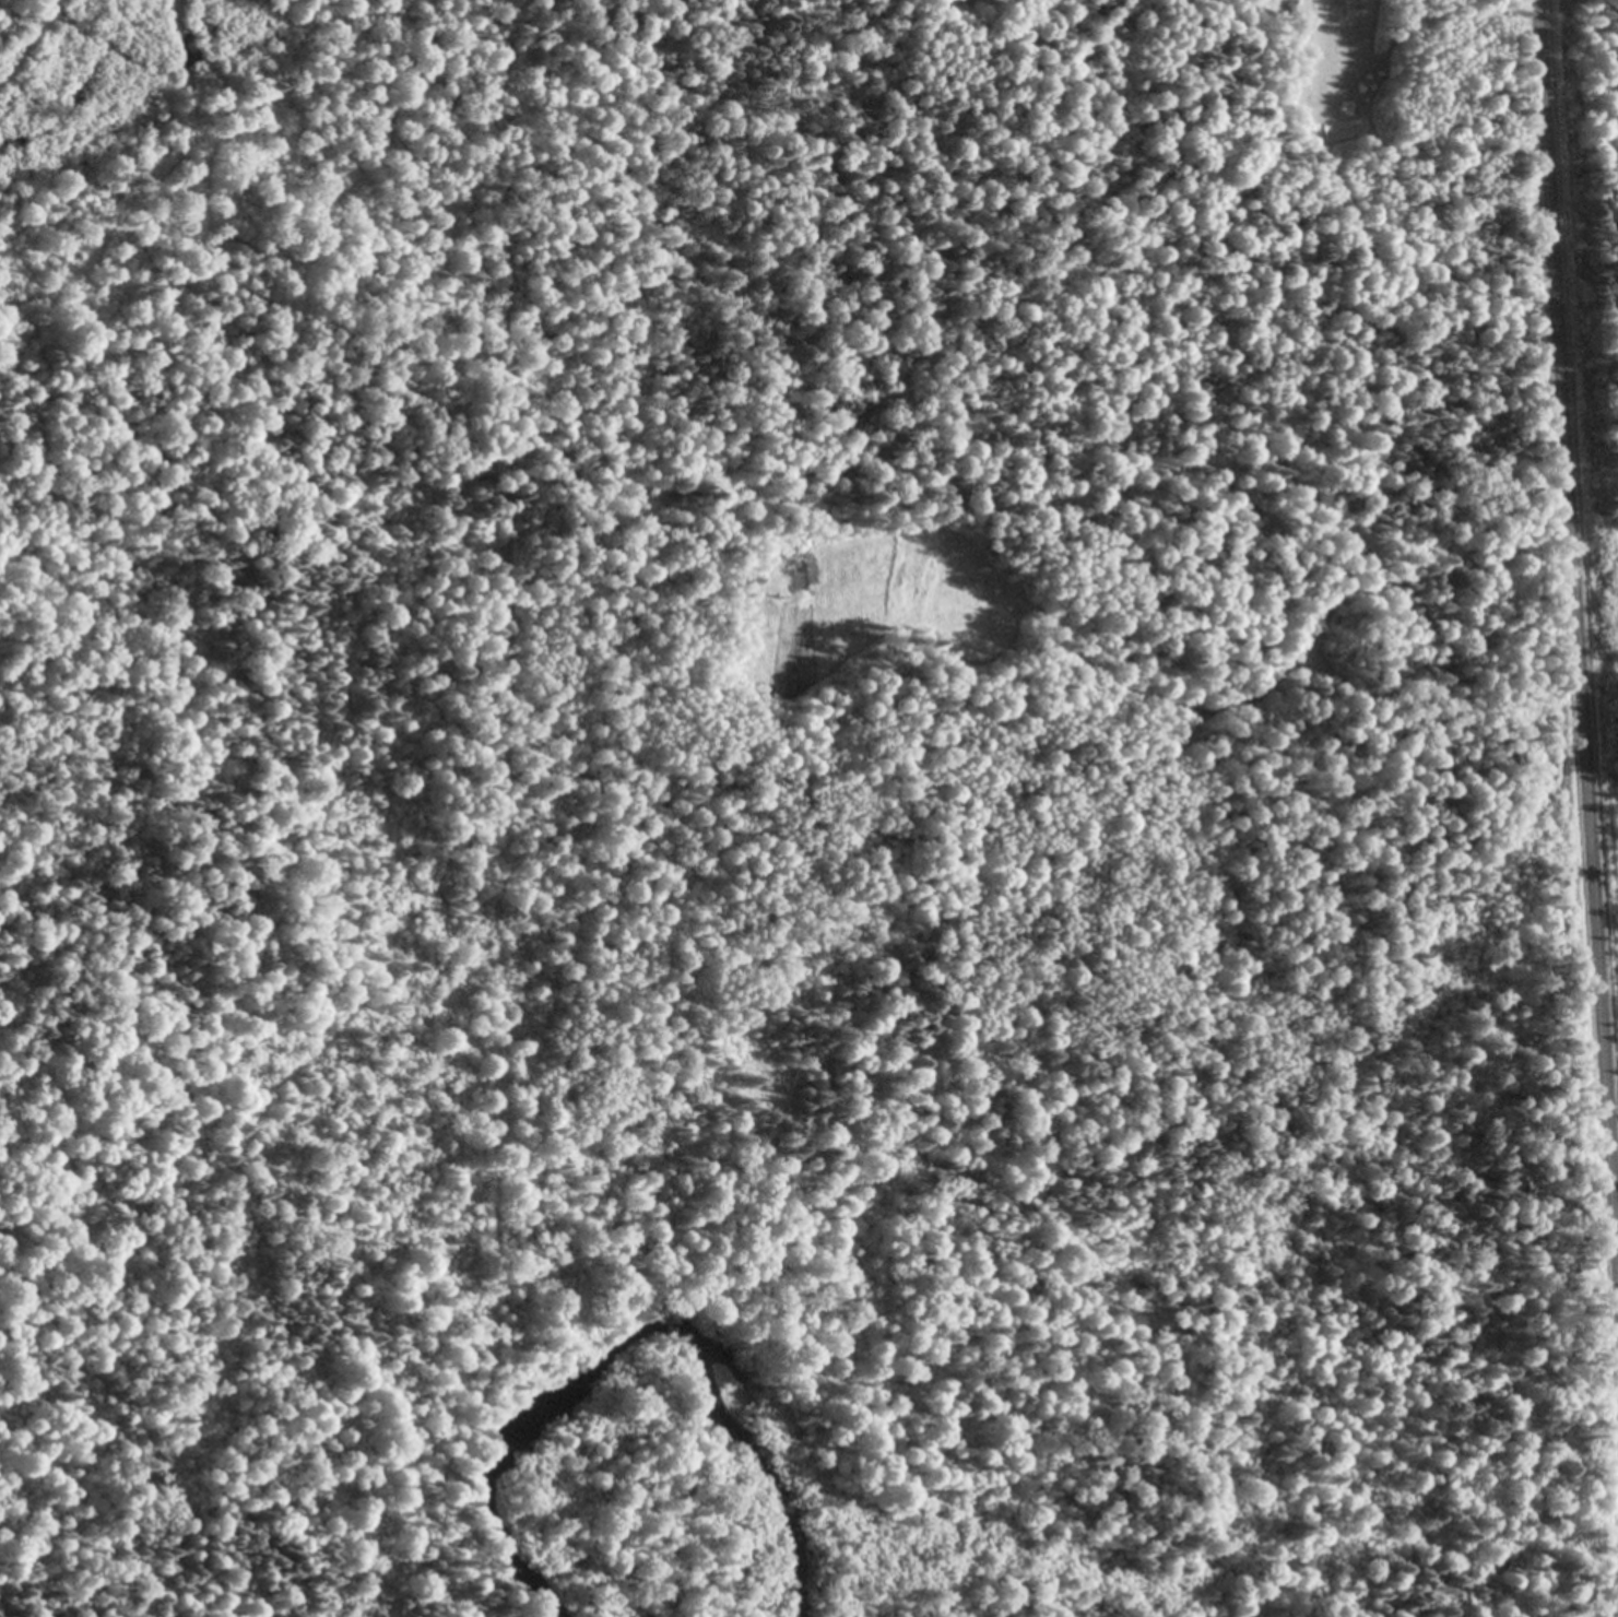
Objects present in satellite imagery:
road: (1575, 668)
river: (649, 1326)

